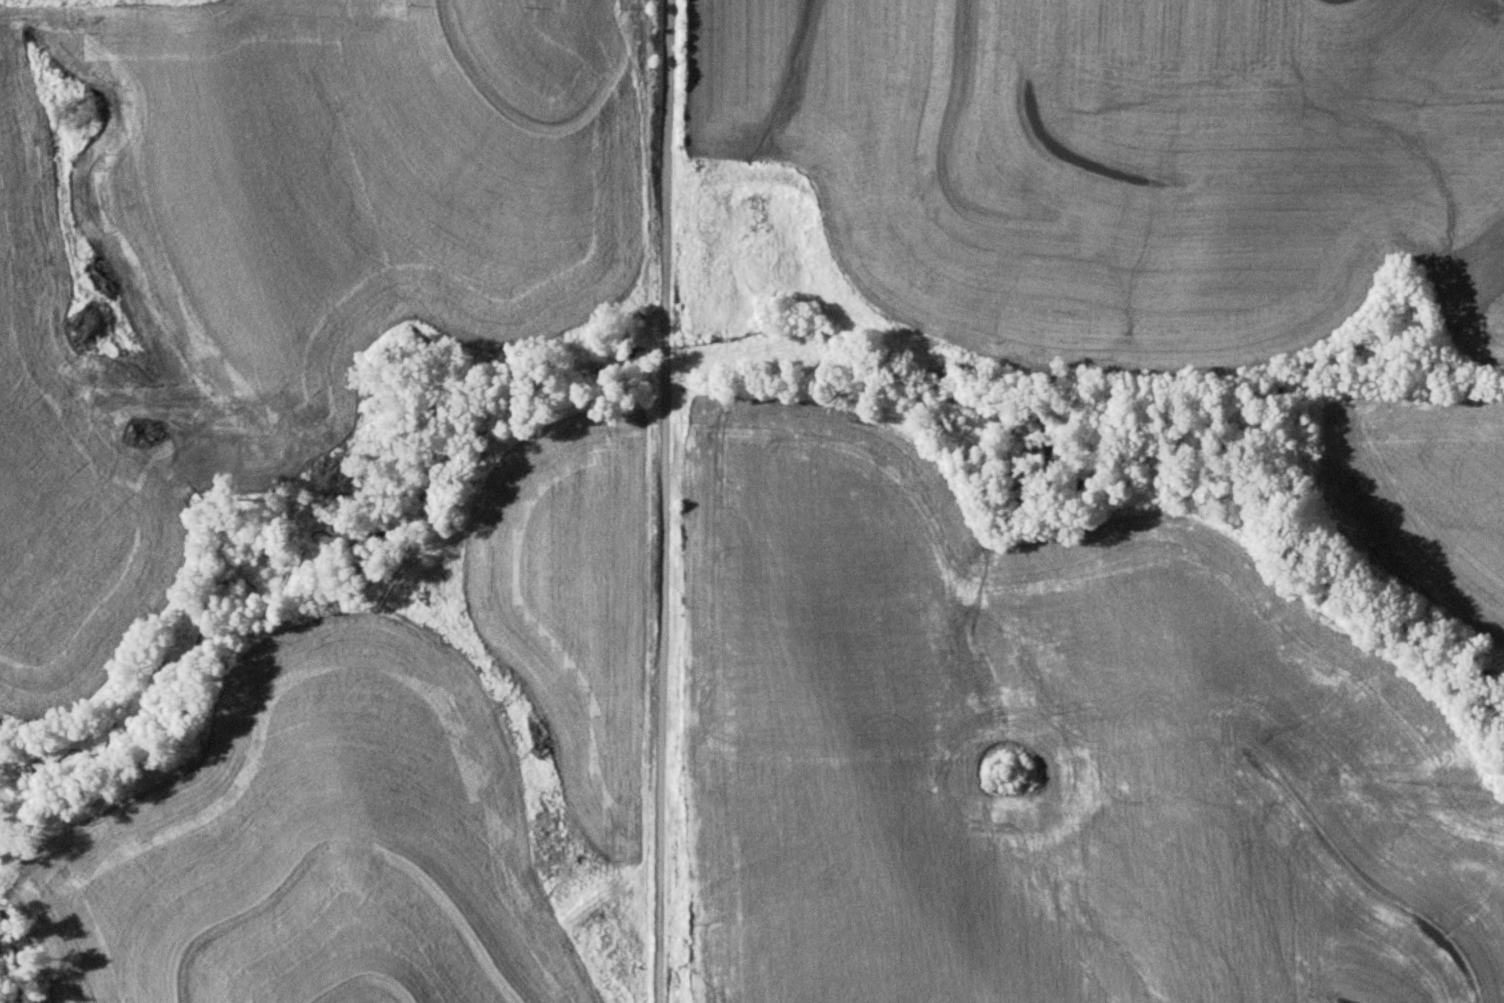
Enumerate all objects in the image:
road: (890, 206)
road: (664, 501)

